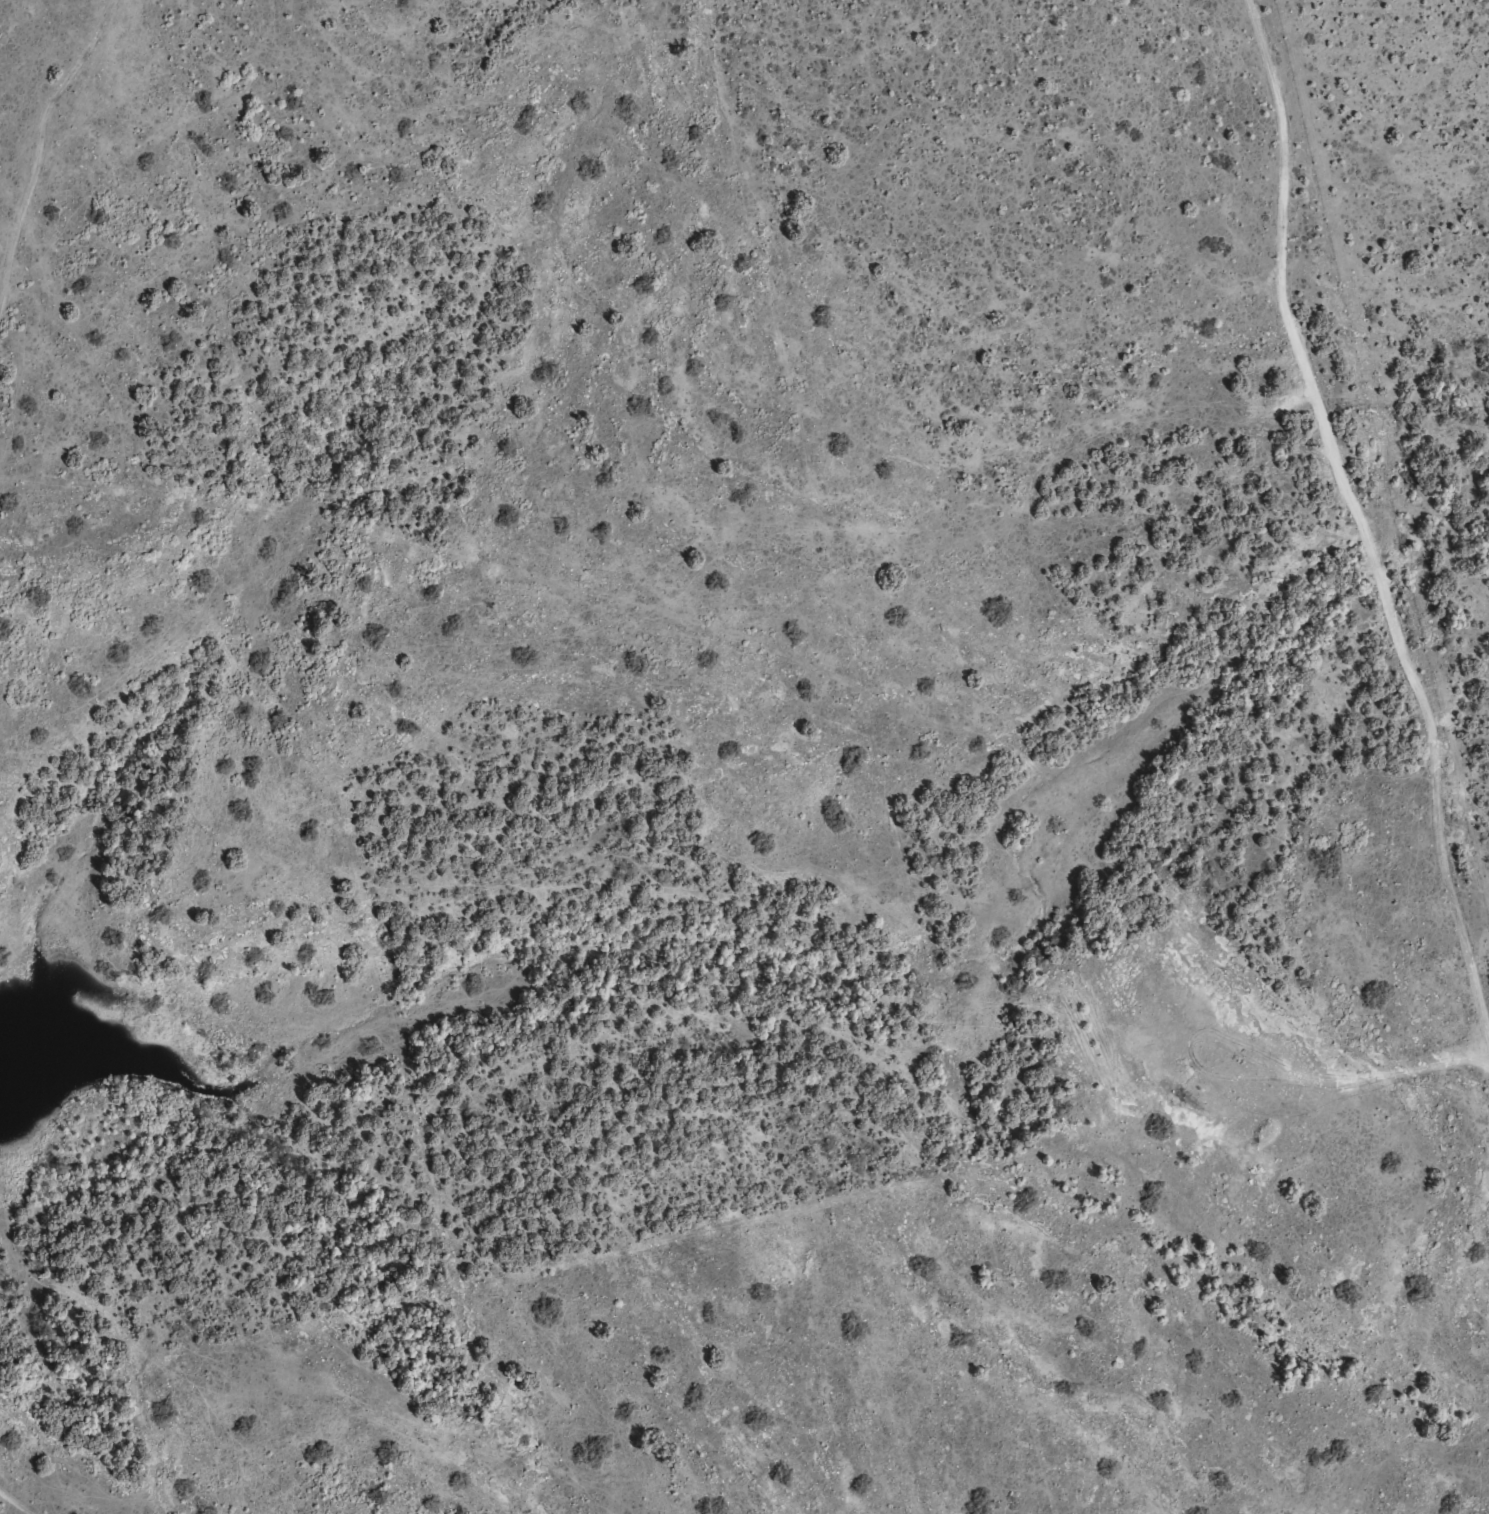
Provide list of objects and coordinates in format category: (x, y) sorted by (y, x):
road: (63, 202)
road: (1296, 552)
road: (24, 1488)
road: (1481, 1512)

